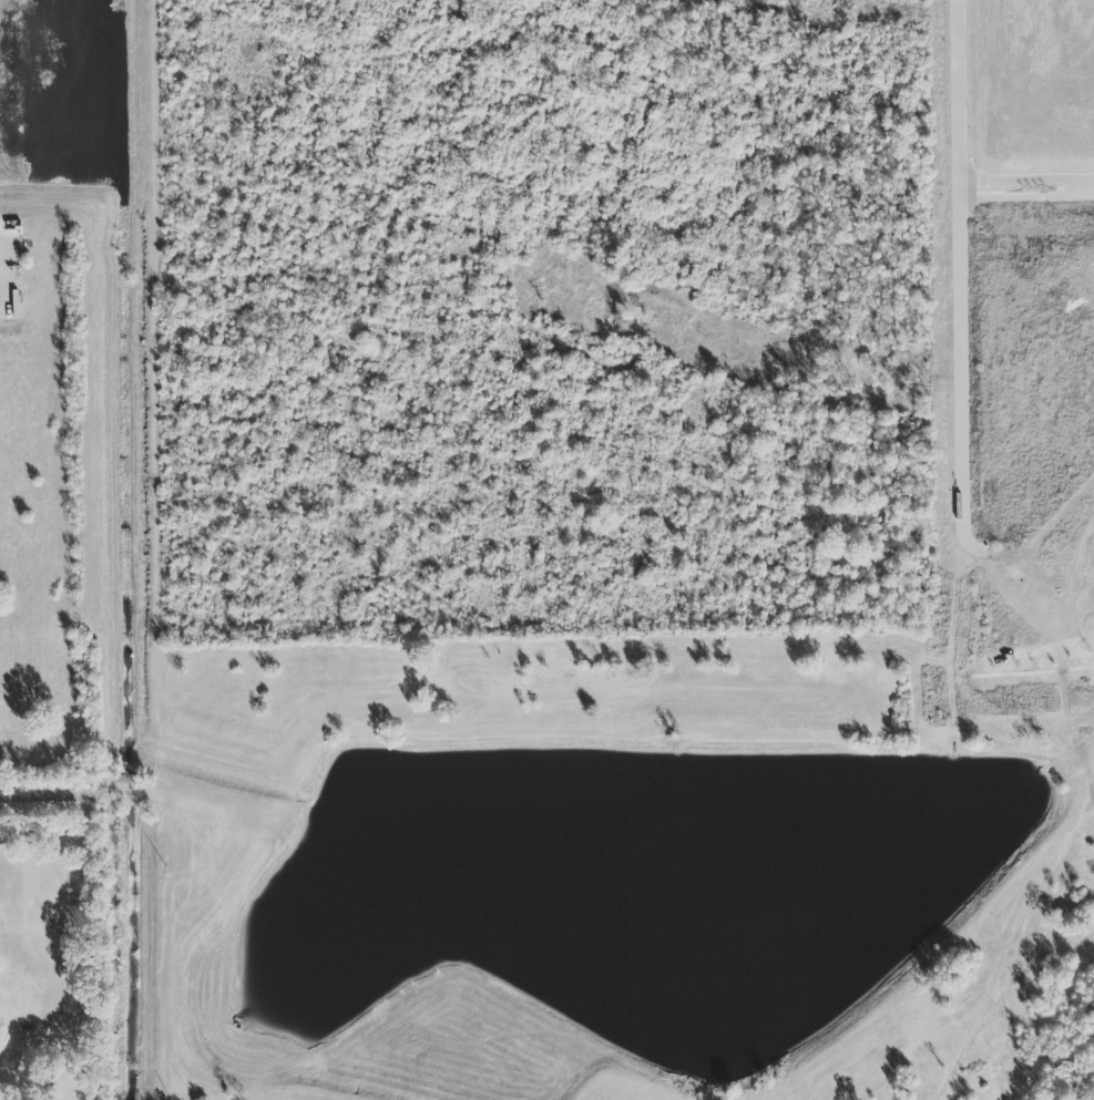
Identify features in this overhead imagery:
road: (1026, 192)
road: (960, 282)
road: (60, 793)

